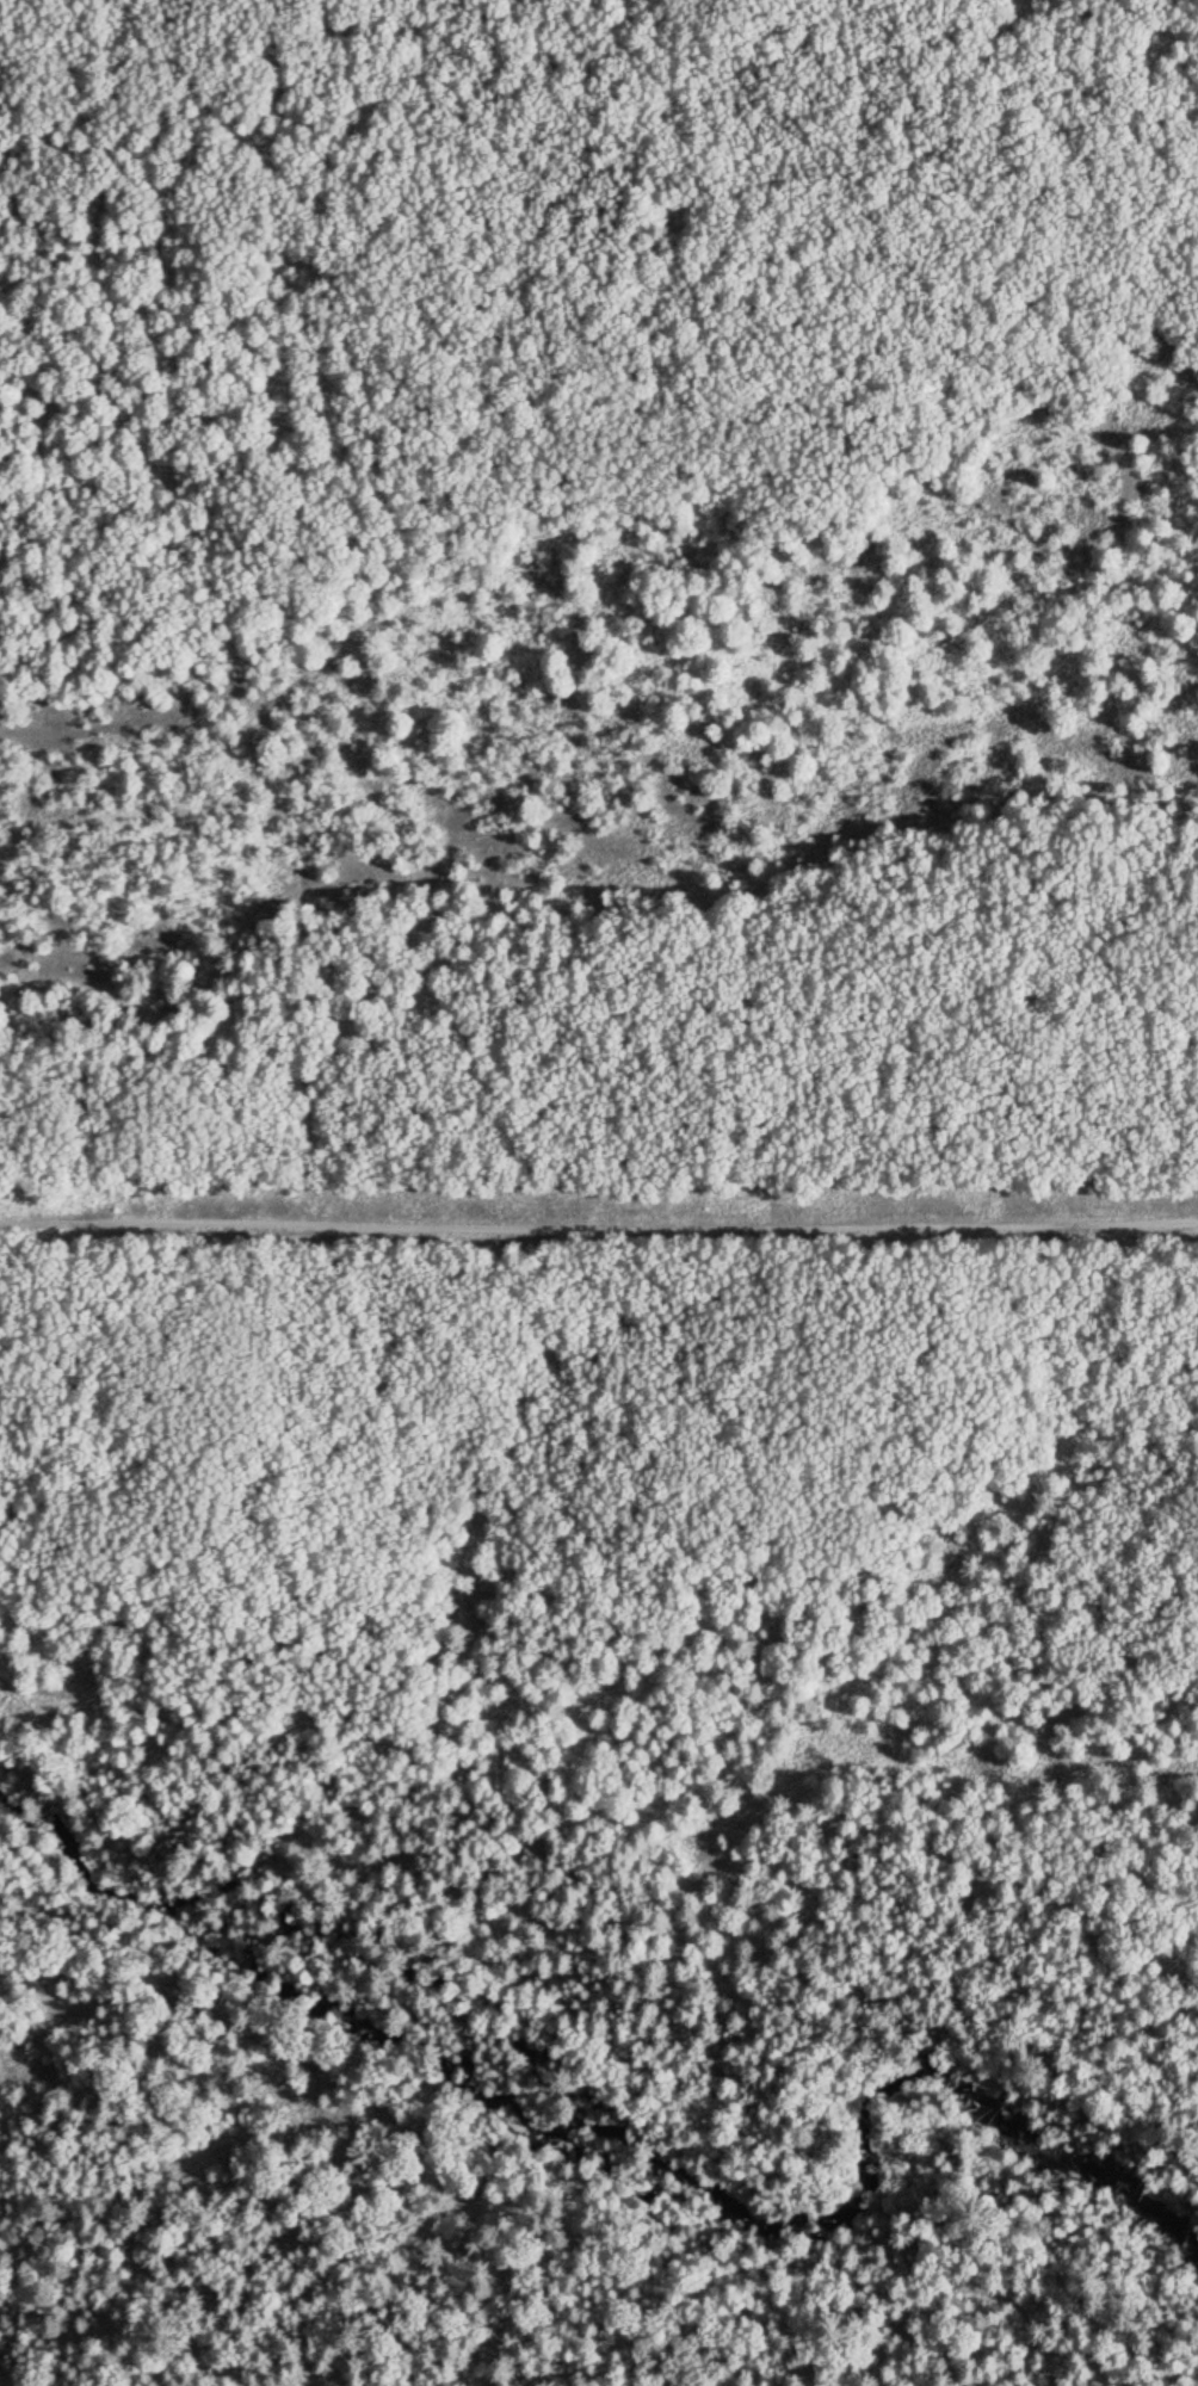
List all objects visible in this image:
road: (303, 1095)
road: (598, 1216)
road: (388, 2112)
road: (933, 2301)

